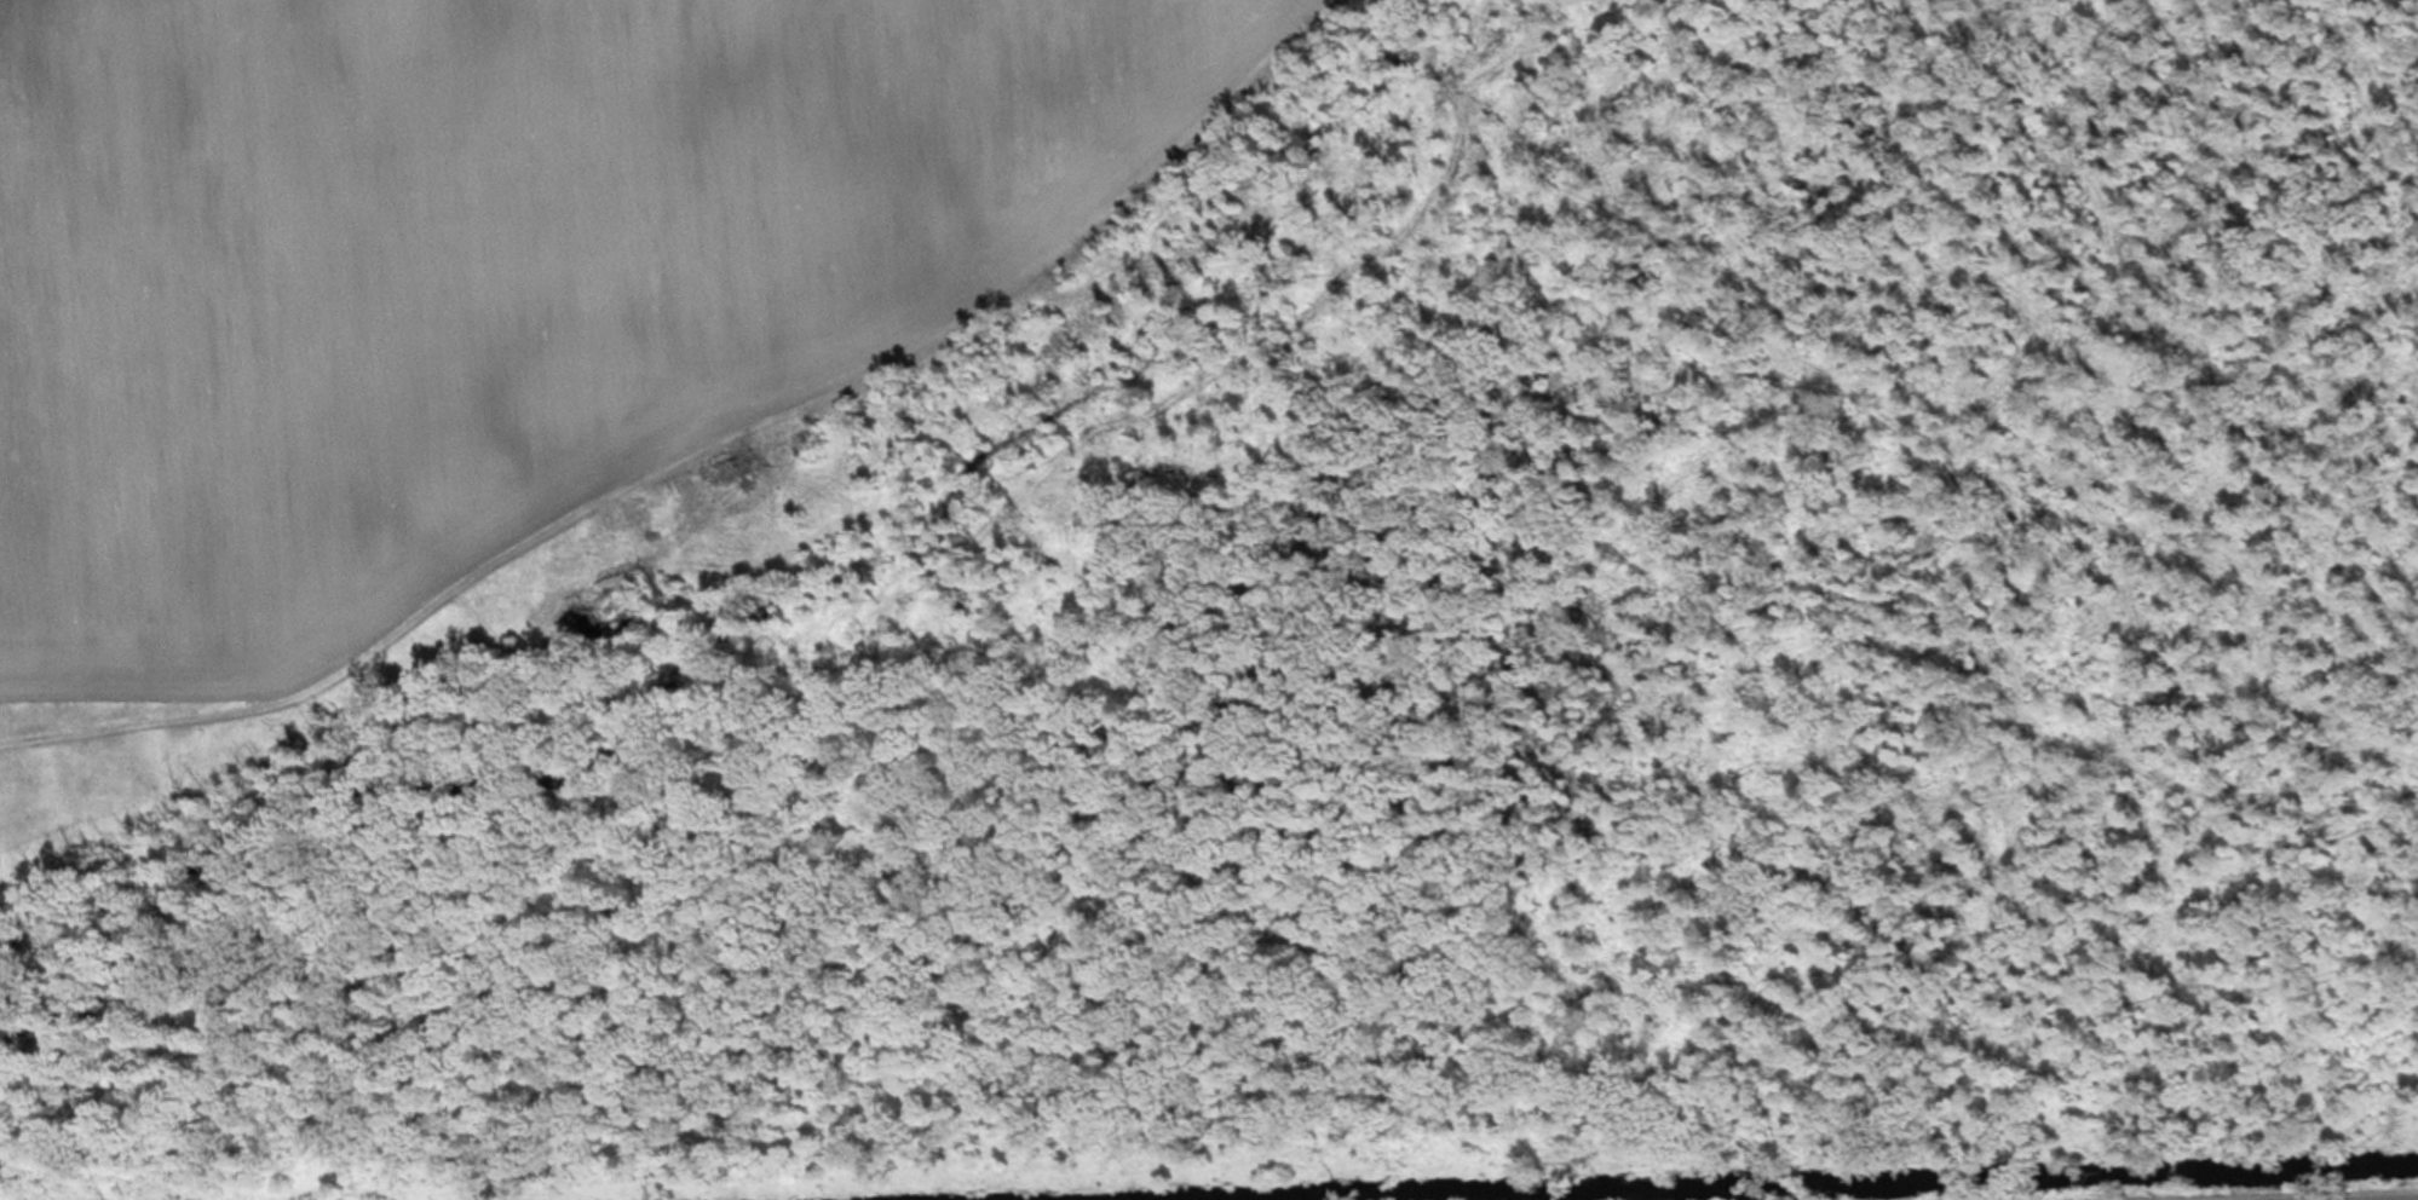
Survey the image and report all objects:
river: (1895, 1187)

